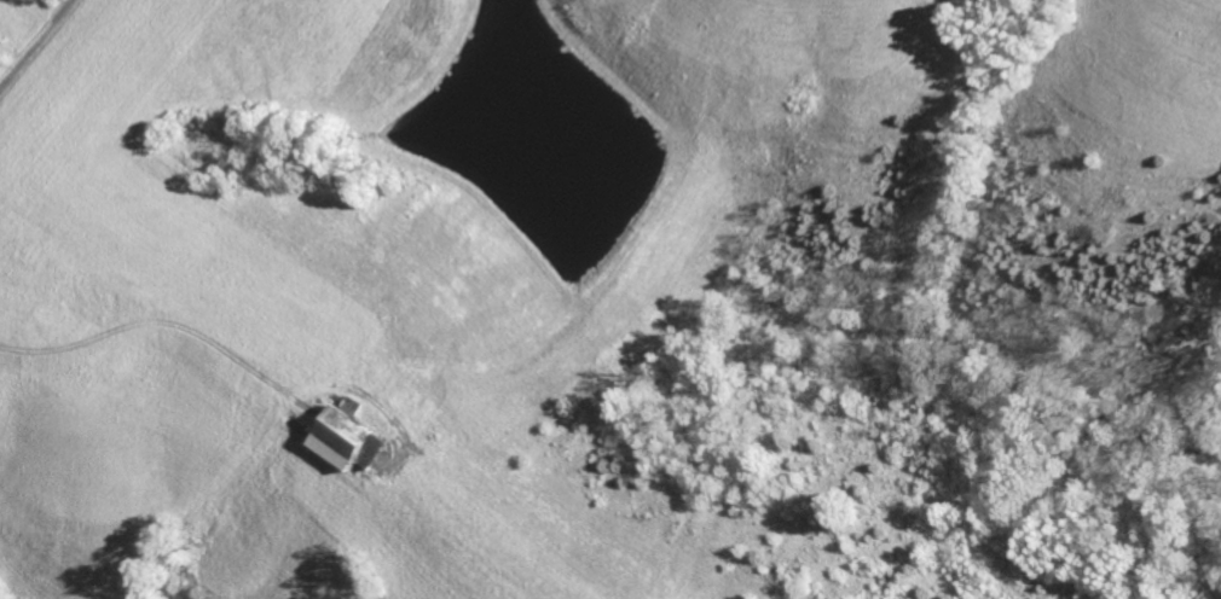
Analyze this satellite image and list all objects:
road: (37, 48)
building: (343, 437)

